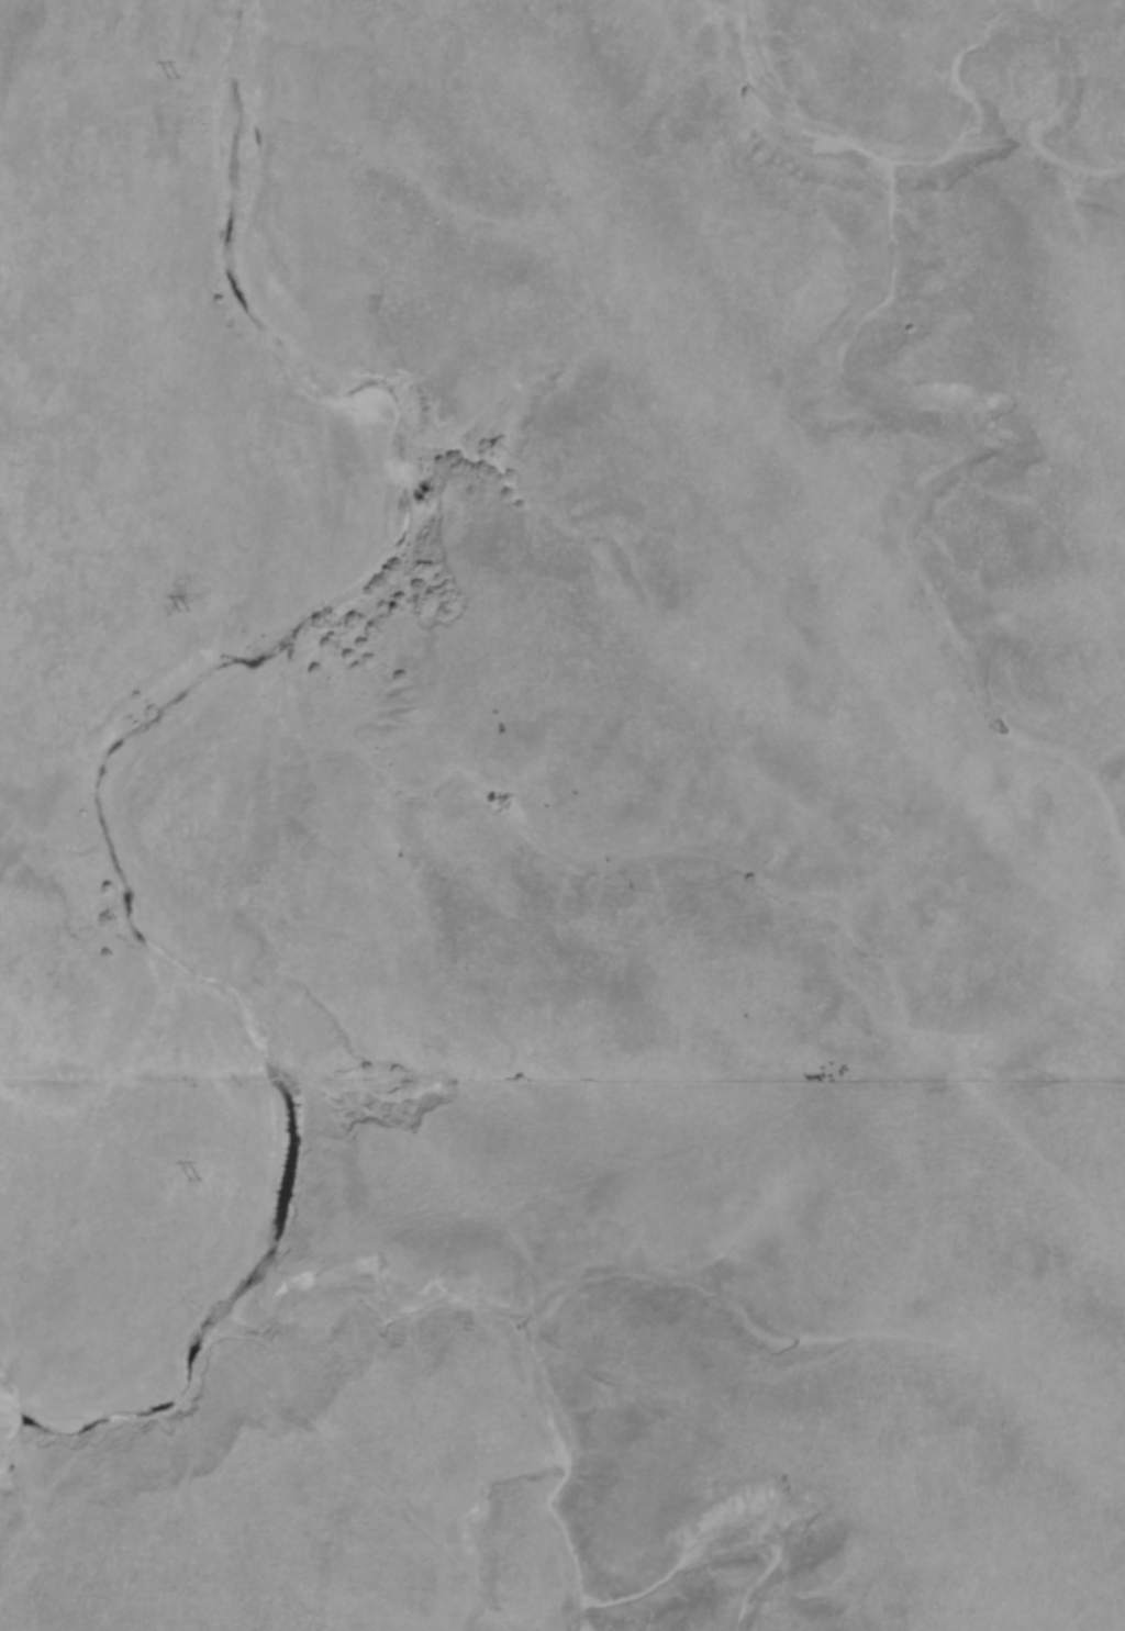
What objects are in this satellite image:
power tower: (172, 78)
power tower: (185, 612)
power tower: (196, 1181)

